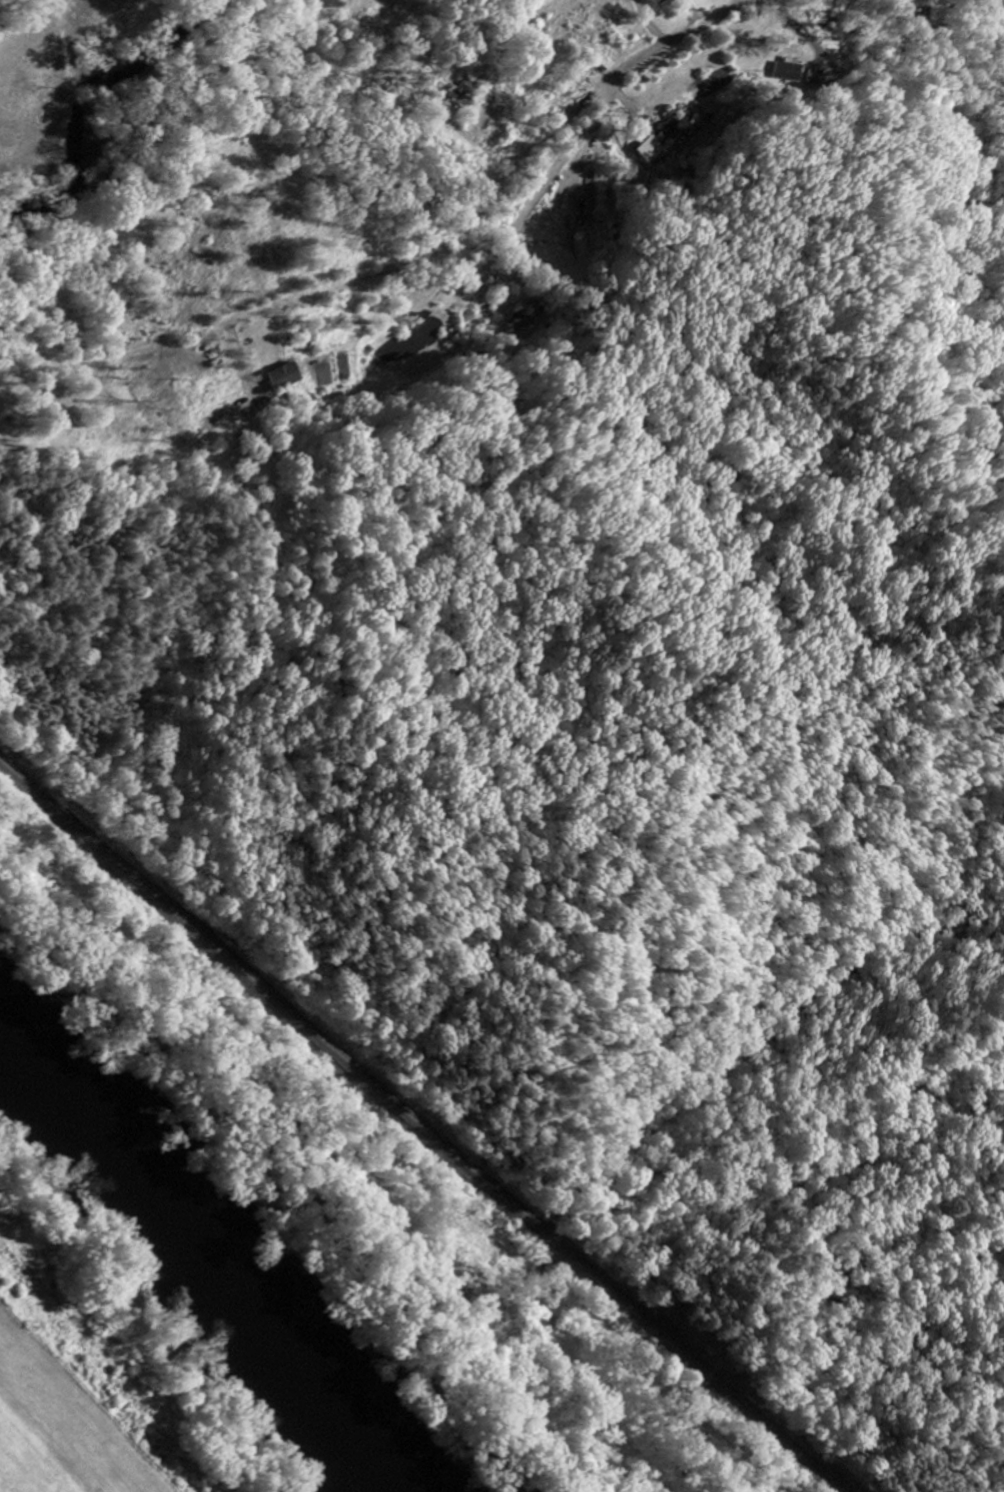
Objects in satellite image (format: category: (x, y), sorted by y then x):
building: (652, 2)
road: (684, 28)
building: (784, 73)
building: (645, 152)
road: (369, 366)
building: (279, 378)
road: (115, 716)
railway: (419, 1127)
river: (221, 1251)

